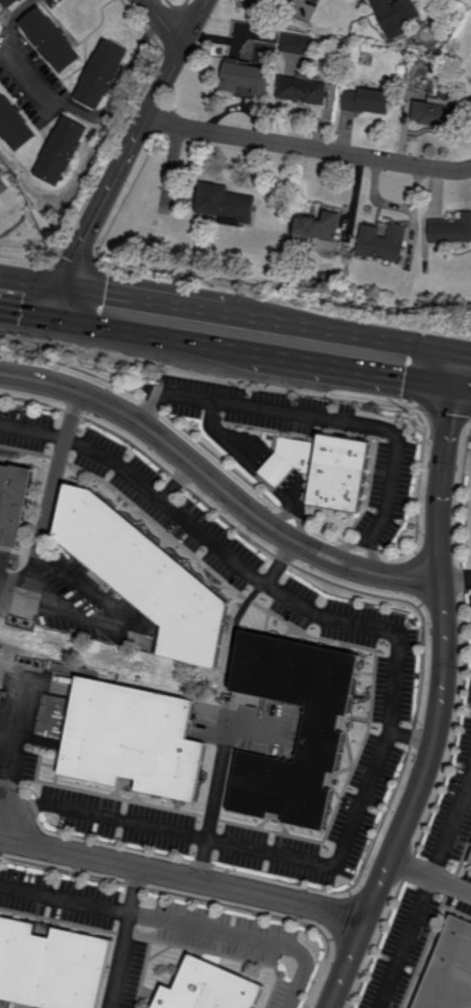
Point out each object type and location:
building: (318, 1)
building: (9, 3)
building: (4, 15)
building: (394, 17)
building: (0, 21)
road: (165, 23)
road: (197, 23)
building: (50, 39)
building: (240, 42)
building: (297, 44)
building: (102, 74)
building: (245, 78)
building: (303, 91)
building: (470, 100)
building: (368, 101)
building: (470, 103)
road: (72, 110)
building: (435, 114)
building: (108, 123)
building: (14, 124)
road: (308, 148)
building: (62, 151)
road: (115, 181)
building: (223, 204)
building: (318, 227)
building: (450, 230)
building: (382, 243)
traffic signals: (60, 289)
road: (212, 316)
traffic signals: (53, 319)
road: (211, 346)
road: (440, 360)
traffic signals: (454, 368)
road: (462, 369)
road: (438, 375)
road: (313, 417)
road: (231, 438)
parking lot: (309, 440)
road: (172, 445)
building: (325, 470)
road: (276, 474)
road: (293, 492)
building: (13, 502)
road: (49, 510)
road: (279, 515)
road: (298, 524)
road: (347, 546)
road: (375, 557)
road: (351, 568)
building: (146, 577)
road: (457, 581)
road: (410, 583)
road: (114, 618)
road: (444, 698)
road: (393, 700)
building: (321, 731)
building: (131, 738)
road: (413, 738)
road: (14, 751)
road: (219, 775)
road: (452, 826)
building: (470, 863)
road: (178, 881)
road: (452, 882)
road: (63, 901)
road: (415, 921)
road: (241, 938)
road: (120, 939)
building: (50, 965)
building: (449, 971)
building: (208, 988)

